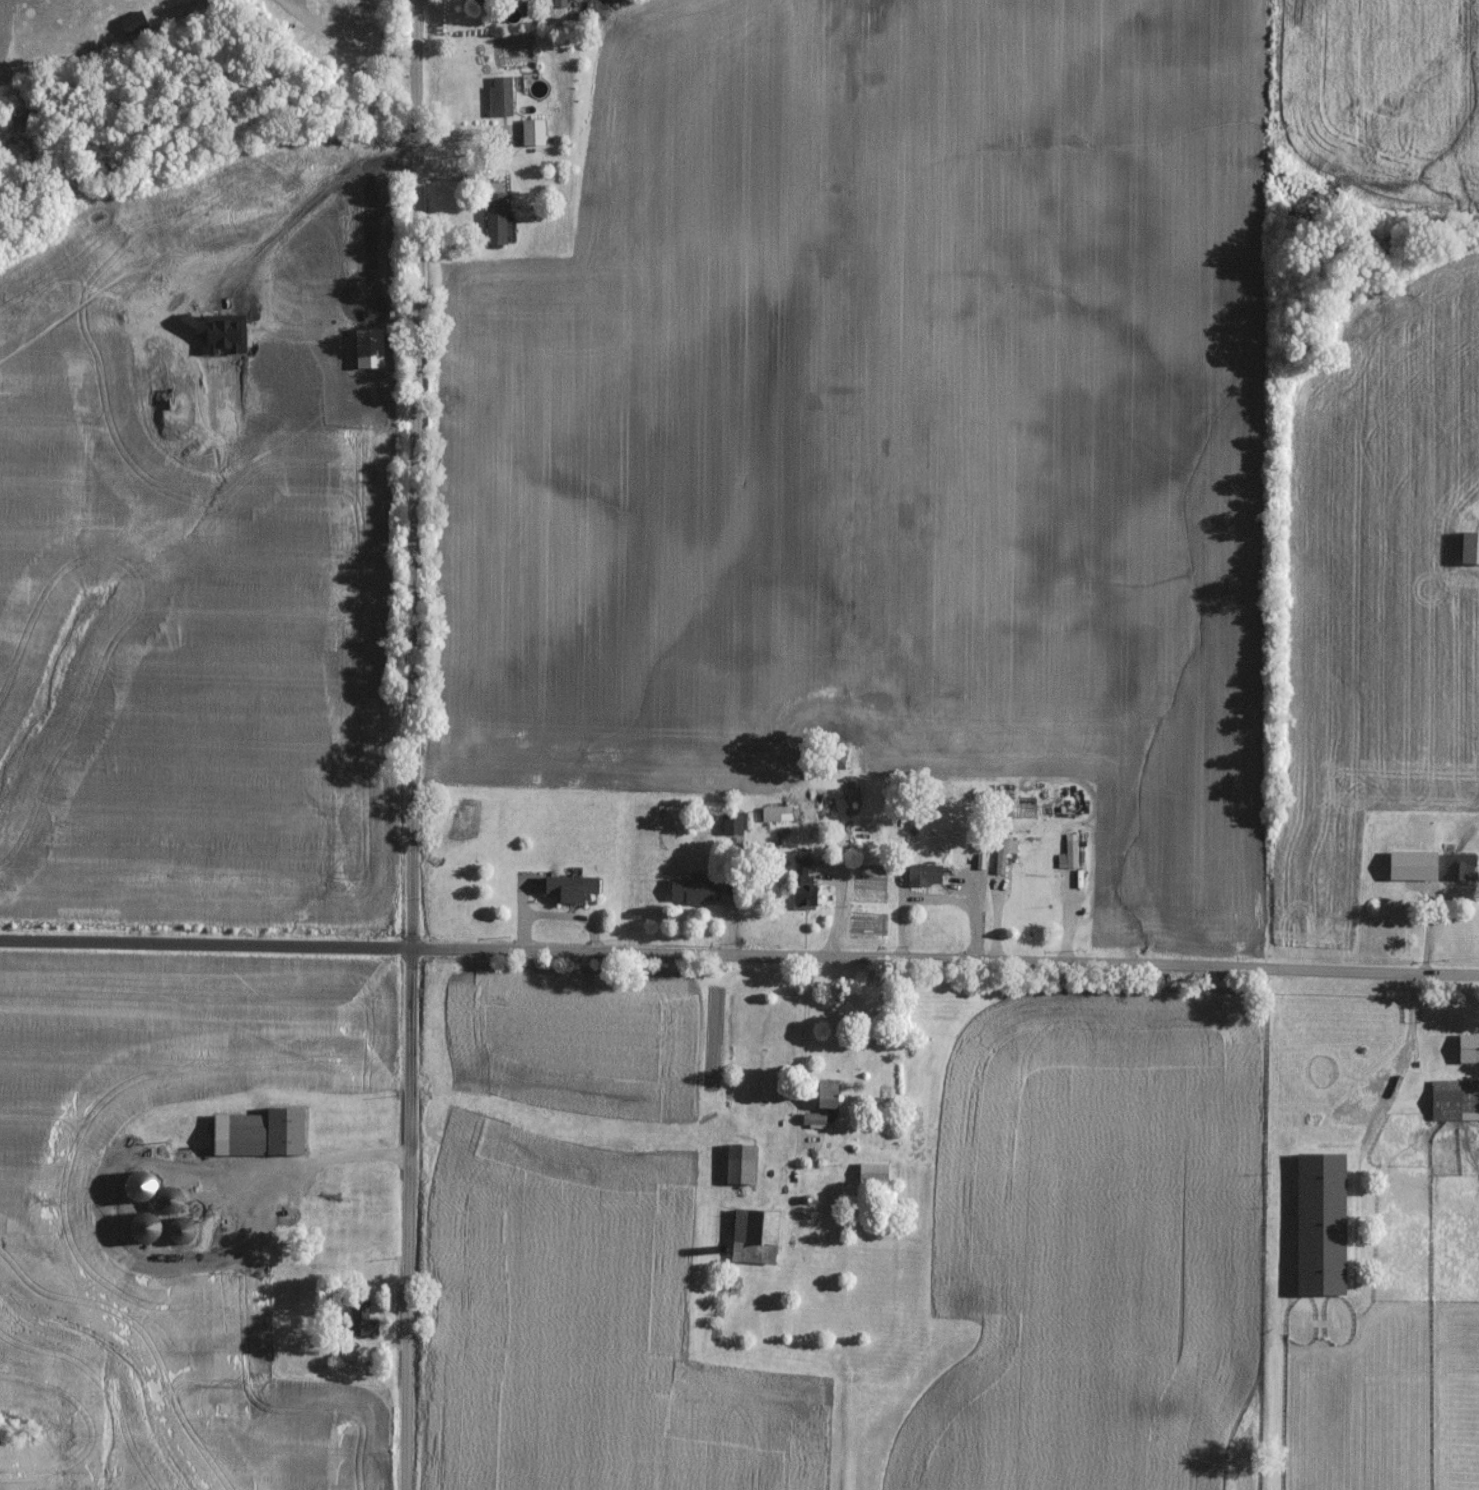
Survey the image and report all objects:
road: (345, 49)
building: (501, 99)
building: (534, 135)
road: (492, 154)
road: (325, 186)
building: (496, 222)
road: (367, 232)
building: (1470, 551)
road: (409, 744)
building: (839, 763)
building: (777, 816)
building: (733, 827)
building: (1001, 859)
building: (1072, 863)
building: (1461, 869)
building: (925, 878)
building: (805, 886)
building: (572, 891)
building: (696, 893)
road: (732, 901)
road: (1427, 916)
road: (555, 917)
road: (739, 958)
building: (1469, 1051)
road: (1404, 1056)
road: (802, 1079)
building: (1455, 1103)
building: (825, 1110)
building: (286, 1135)
building: (239, 1138)
road: (307, 1162)
building: (742, 1167)
building: (874, 1176)
building: (171, 1202)
building: (343, 1214)
building: (1322, 1227)
building: (146, 1229)
building: (182, 1232)
building: (756, 1239)
building: (363, 1320)
building: (348, 1353)

